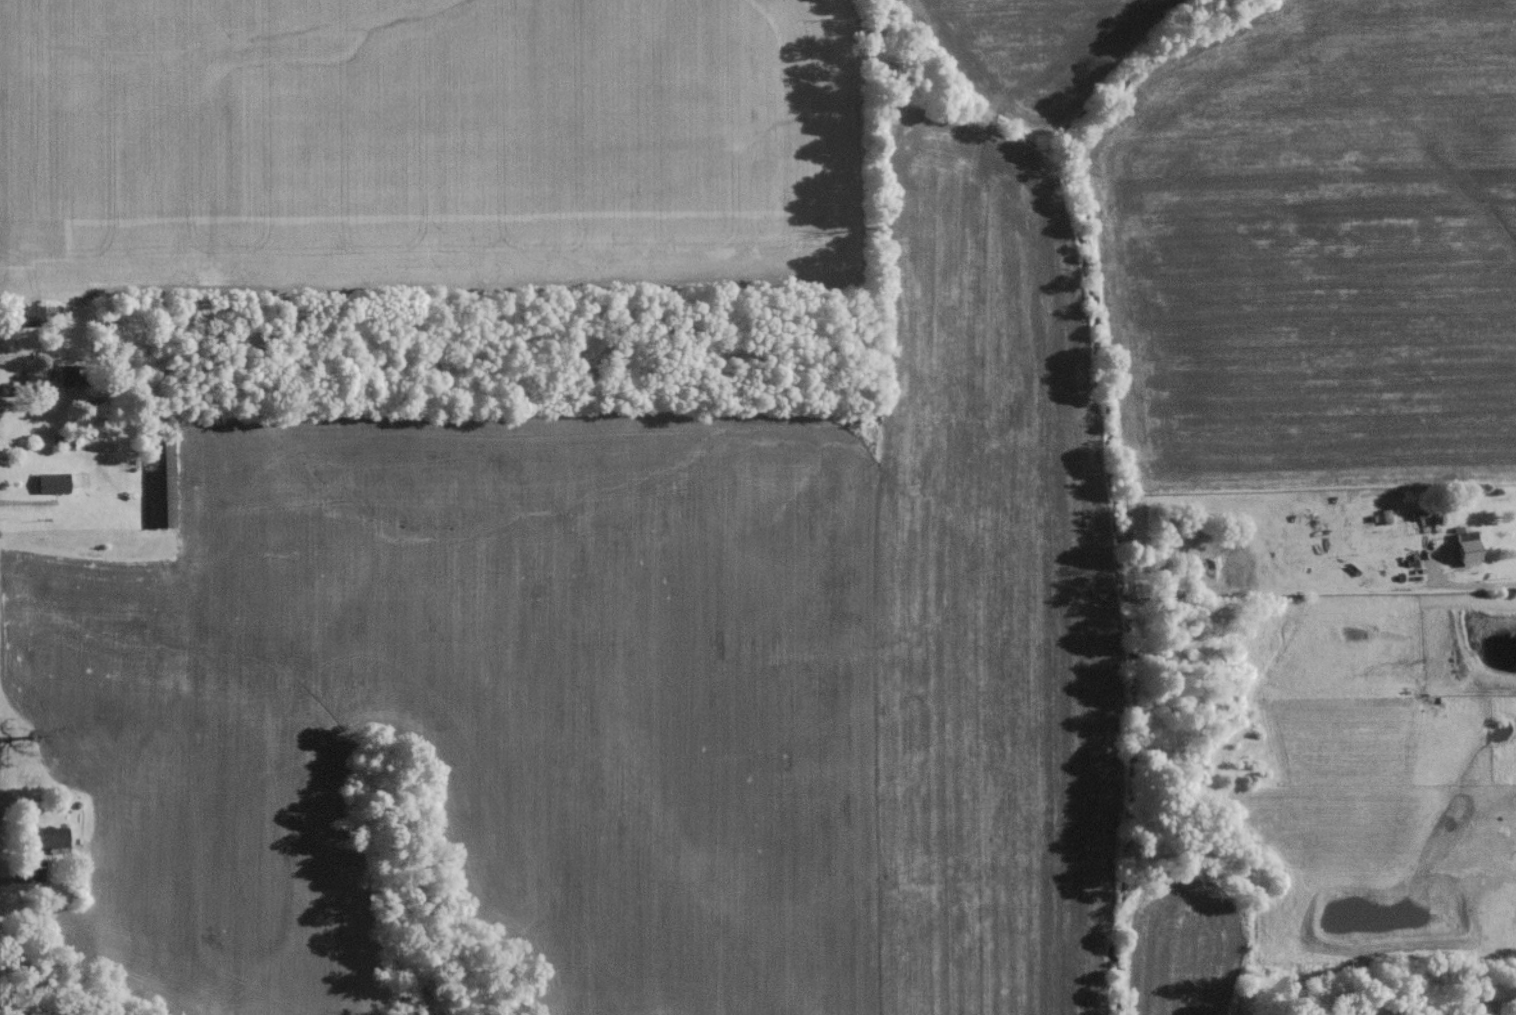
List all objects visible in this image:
building: (38, 320)
building: (65, 380)
building: (28, 395)
building: (157, 483)
building: (48, 488)
building: (1461, 557)
building: (1365, 564)
road: (1489, 587)
building: (46, 842)

